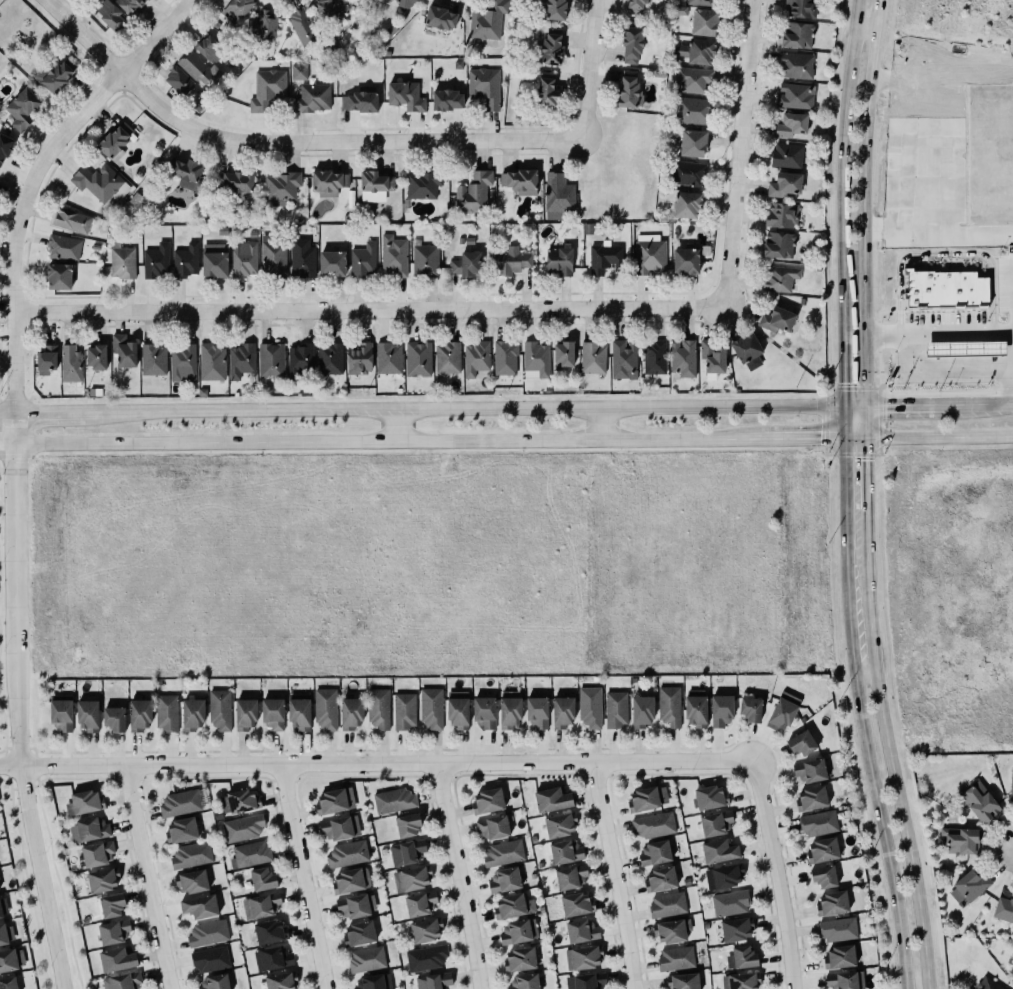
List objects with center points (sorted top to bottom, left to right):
building: (702, 2)
building: (406, 3)
building: (130, 5)
building: (329, 6)
building: (636, 6)
building: (800, 7)
building: (237, 9)
building: (556, 9)
building: (109, 14)
building: (438, 17)
building: (487, 20)
building: (703, 21)
building: (302, 26)
road: (867, 29)
building: (797, 35)
building: (630, 43)
building: (210, 48)
building: (550, 49)
building: (697, 51)
building: (796, 64)
building: (195, 66)
road: (586, 70)
building: (299, 72)
building: (54, 74)
building: (692, 78)
building: (177, 79)
road: (943, 83)
building: (483, 85)
building: (267, 89)
building: (546, 89)
building: (628, 92)
building: (405, 94)
building: (793, 95)
building: (313, 98)
building: (447, 99)
building: (359, 101)
building: (22, 108)
building: (690, 109)
building: (789, 124)
road: (925, 124)
building: (115, 141)
road: (287, 142)
building: (693, 143)
building: (4, 147)
road: (733, 152)
building: (989, 154)
building: (787, 155)
road: (905, 158)
road: (945, 160)
road: (925, 161)
road: (845, 168)
building: (186, 173)
building: (687, 173)
road: (35, 175)
building: (327, 179)
building: (520, 179)
building: (96, 181)
building: (374, 181)
building: (235, 183)
building: (421, 183)
building: (785, 185)
building: (281, 187)
building: (474, 192)
building: (558, 195)
road: (925, 198)
road: (866, 202)
building: (687, 205)
building: (781, 215)
building: (72, 220)
road: (938, 238)
building: (777, 244)
building: (62, 246)
road: (943, 253)
building: (650, 254)
building: (393, 256)
building: (273, 257)
building: (244, 258)
building: (302, 258)
building: (604, 258)
building: (425, 259)
building: (154, 260)
building: (214, 260)
building: (364, 260)
building: (558, 260)
building: (685, 260)
building: (121, 261)
building: (186, 261)
building: (511, 261)
building: (331, 262)
building: (465, 263)
building: (57, 276)
building: (780, 278)
building: (942, 288)
road: (365, 309)
building: (777, 319)
road: (939, 332)
building: (962, 347)
building: (124, 350)
building: (748, 350)
building: (562, 353)
building: (95, 356)
building: (711, 356)
building: (447, 357)
building: (475, 357)
building: (593, 357)
building: (621, 357)
building: (654, 357)
building: (682, 357)
building: (330, 358)
building: (360, 358)
building: (388, 358)
building: (418, 358)
building: (505, 358)
building: (47, 359)
building: (153, 359)
building: (299, 359)
building: (534, 359)
building: (241, 360)
building: (269, 360)
building: (181, 361)
building: (210, 362)
building: (69, 363)
road: (947, 372)
traffic signals: (841, 380)
road: (841, 388)
traffic signals: (883, 406)
road: (886, 406)
road: (973, 406)
road: (721, 407)
road: (346, 408)
road: (8, 409)
road: (54, 409)
road: (394, 424)
road: (601, 424)
road: (939, 436)
traffic signals: (816, 439)
road: (817, 439)
road: (392, 440)
road: (8, 442)
road: (867, 458)
traffic signals: (868, 459)
road: (18, 701)
building: (669, 705)
building: (590, 707)
building: (326, 708)
building: (379, 708)
building: (431, 708)
building: (220, 709)
building: (510, 709)
building: (616, 709)
building: (751, 709)
building: (59, 710)
building: (402, 710)
building: (694, 710)
building: (721, 710)
building: (86, 711)
building: (137, 711)
building: (537, 711)
building: (642, 711)
building: (783, 711)
building: (167, 712)
building: (349, 712)
building: (456, 712)
building: (483, 712)
building: (563, 712)
building: (193, 714)
building: (243, 714)
building: (271, 714)
building: (298, 714)
road: (861, 715)
building: (113, 719)
building: (800, 743)
road: (897, 750)
road: (377, 763)
building: (809, 770)
building: (1011, 789)
building: (332, 797)
building: (711, 797)
building: (646, 798)
building: (810, 799)
building: (394, 800)
building: (550, 800)
building: (239, 801)
building: (486, 801)
building: (980, 802)
building: (82, 803)
building: (180, 803)
building: (817, 822)
building: (716, 823)
building: (560, 824)
building: (654, 824)
building: (406, 825)
building: (492, 826)
building: (340, 827)
building: (91, 828)
building: (243, 828)
building: (179, 830)
building: (960, 840)
building: (822, 850)
building: (566, 851)
building: (717, 851)
building: (405, 852)
building: (654, 852)
building: (98, 853)
building: (346, 853)
building: (502, 853)
building: (250, 854)
building: (191, 855)
building: (569, 873)
road: (780, 873)
road: (618, 874)
road: (461, 875)
road: (301, 876)
building: (721, 876)
road: (24, 877)
road: (56, 877)
road: (146, 877)
building: (823, 877)
building: (412, 878)
building: (263, 879)
building: (660, 879)
building: (101, 880)
building: (351, 880)
building: (503, 880)
building: (190, 881)
building: (967, 886)
building: (729, 901)
building: (420, 903)
building: (832, 903)
building: (575, 904)
building: (666, 904)
building: (112, 905)
building: (261, 905)
building: (2, 906)
building: (200, 906)
building: (353, 906)
building: (512, 906)
building: (1004, 906)
building: (837, 928)
building: (735, 929)
building: (426, 930)
building: (581, 930)
building: (205, 931)
building: (270, 931)
building: (517, 931)
building: (669, 931)
building: (112, 932)
building: (6, 933)
building: (358, 933)
building: (426, 955)
building: (581, 957)
building: (744, 957)
building: (839, 957)
building: (273, 958)
building: (674, 958)
building: (1012, 958)
building: (12, 959)
building: (211, 959)
building: (367, 959)
building: (518, 959)
building: (115, 960)
building: (281, 980)
building: (844, 980)
building: (123, 981)
building: (434, 981)
building: (523, 981)
building: (586, 981)
building: (682, 981)
building: (738, 981)
building: (215, 982)
building: (374, 982)
building: (8, 983)
building: (985, 984)

